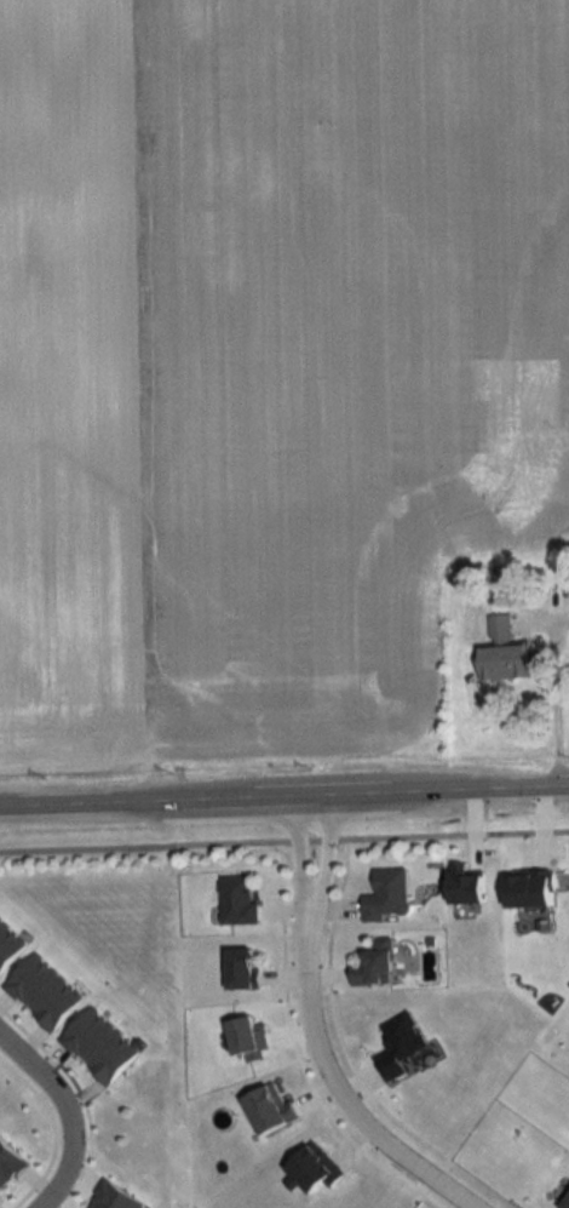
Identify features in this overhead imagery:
crop: (266, 360)
building: (504, 653)
road: (550, 693)
road: (284, 802)
road: (300, 861)
road: (326, 861)
building: (387, 897)
building: (237, 901)
building: (375, 964)
building: (241, 968)
building: (401, 1044)
road: (338, 1092)
road: (67, 1115)

